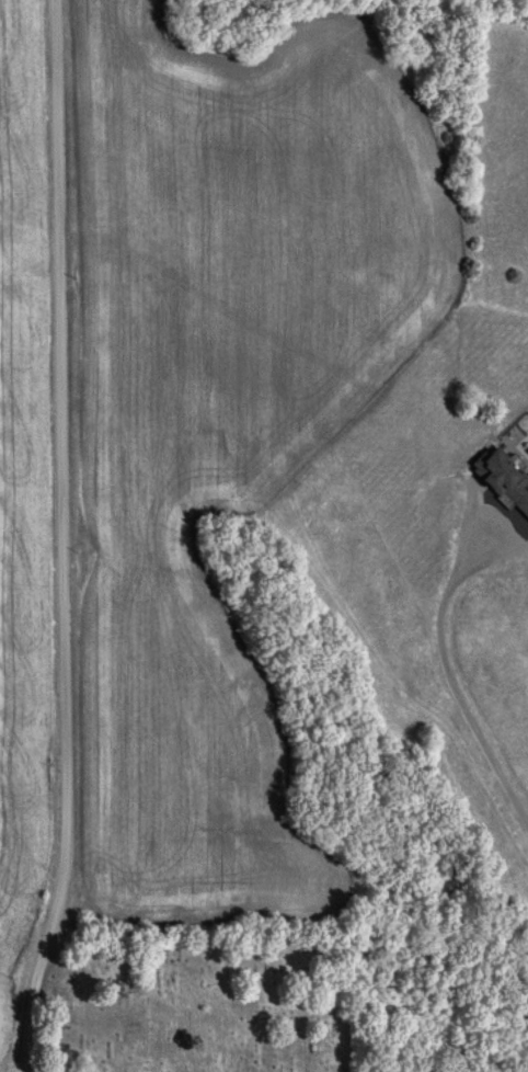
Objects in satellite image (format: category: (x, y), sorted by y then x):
building: (503, 479)
road: (62, 538)

